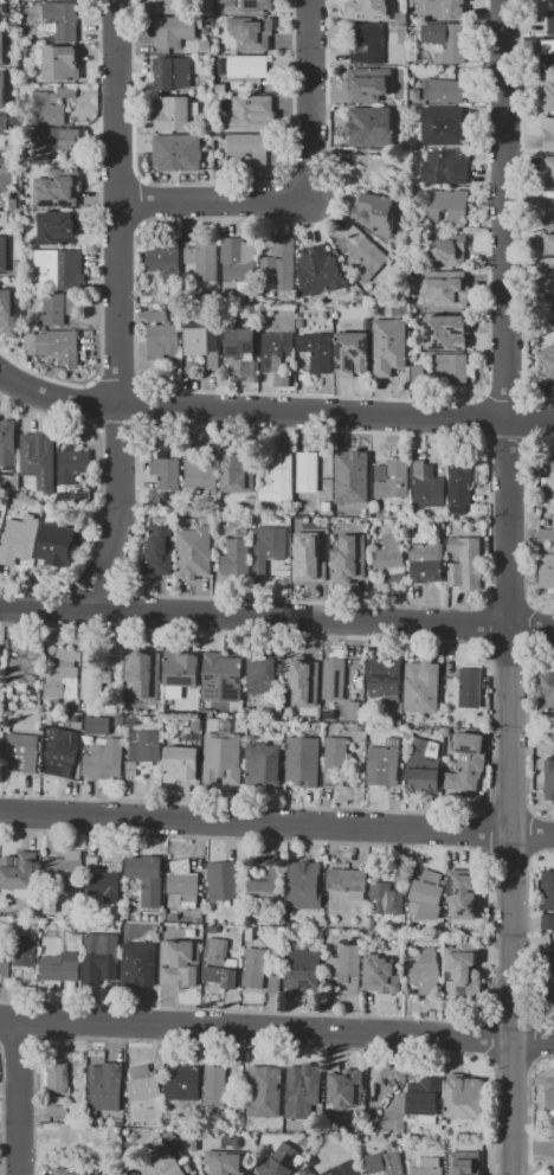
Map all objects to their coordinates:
building: (250, 5)
building: (166, 6)
building: (442, 8)
building: (368, 9)
building: (404, 15)
building: (66, 17)
building: (553, 23)
building: (476, 31)
building: (179, 32)
building: (255, 33)
building: (369, 45)
building: (453, 45)
building: (207, 47)
building: (2, 49)
building: (550, 49)
building: (62, 64)
building: (251, 68)
building: (174, 73)
building: (378, 84)
building: (2, 89)
building: (447, 91)
building: (549, 95)
building: (56, 101)
building: (247, 113)
building: (175, 114)
building: (346, 114)
building: (402, 118)
building: (17, 120)
building: (450, 126)
building: (368, 127)
building: (4, 130)
building: (549, 135)
building: (58, 140)
building: (180, 149)
building: (252, 149)
building: (211, 161)
building: (7, 162)
building: (449, 169)
building: (380, 171)
building: (549, 172)
building: (54, 184)
road: (314, 198)
building: (450, 207)
building: (381, 211)
building: (2, 218)
building: (552, 220)
building: (60, 227)
building: (549, 249)
building: (451, 251)
building: (4, 253)
building: (372, 255)
building: (169, 261)
building: (207, 261)
building: (241, 264)
building: (64, 267)
building: (282, 268)
building: (324, 274)
building: (550, 290)
building: (444, 291)
building: (161, 296)
building: (62, 309)
road: (120, 310)
building: (11, 313)
road: (503, 313)
building: (550, 319)
building: (450, 333)
building: (165, 338)
building: (206, 341)
building: (34, 346)
building: (65, 347)
building: (393, 348)
building: (278, 352)
building: (244, 353)
building: (321, 353)
building: (355, 355)
building: (546, 361)
building: (457, 370)
building: (423, 377)
building: (284, 381)
road: (273, 413)
building: (11, 445)
building: (45, 462)
building: (77, 465)
building: (240, 471)
building: (313, 473)
building: (202, 475)
building: (166, 477)
building: (354, 480)
building: (550, 480)
building: (397, 481)
building: (282, 482)
building: (430, 488)
building: (463, 490)
road: (101, 492)
building: (78, 497)
building: (329, 508)
building: (548, 534)
building: (21, 541)
building: (65, 544)
building: (273, 550)
building: (160, 552)
building: (193, 552)
building: (320, 552)
building: (240, 556)
building: (353, 557)
building: (308, 558)
building: (430, 561)
building: (394, 563)
building: (469, 565)
building: (547, 573)
road: (277, 617)
building: (26, 669)
building: (185, 669)
building: (268, 675)
building: (66, 676)
building: (386, 678)
building: (96, 679)
building: (224, 679)
building: (1, 680)
building: (147, 680)
building: (337, 680)
building: (307, 683)
building: (425, 687)
building: (471, 688)
building: (548, 693)
building: (357, 712)
building: (331, 715)
building: (123, 721)
building: (101, 726)
building: (1, 740)
building: (27, 751)
building: (66, 752)
building: (147, 752)
building: (340, 759)
building: (225, 760)
building: (108, 763)
building: (307, 763)
building: (387, 764)
building: (471, 764)
building: (185, 765)
building: (266, 766)
building: (426, 769)
building: (550, 781)
road: (277, 818)
building: (21, 872)
building: (70, 872)
building: (402, 877)
building: (150, 879)
building: (227, 881)
building: (107, 882)
building: (353, 884)
building: (187, 885)
building: (270, 887)
building: (309, 887)
building: (549, 892)
building: (469, 893)
building: (431, 898)
building: (388, 900)
road: (511, 900)
building: (53, 906)
building: (549, 923)
building: (78, 930)
building: (434, 940)
building: (28, 951)
building: (552, 957)
building: (103, 958)
building: (224, 964)
building: (142, 967)
building: (183, 967)
building: (64, 968)
building: (349, 968)
building: (307, 970)
building: (385, 970)
building: (466, 971)
building: (7, 972)
building: (429, 972)
building: (257, 974)
building: (277, 984)
building: (552, 991)
road: (277, 1029)
building: (143, 1071)
building: (187, 1083)
building: (352, 1086)
building: (218, 1087)
building: (60, 1089)
building: (149, 1089)
building: (107, 1090)
building: (268, 1092)
building: (305, 1092)
road: (17, 1097)
building: (466, 1098)
building: (427, 1099)
building: (389, 1100)
building: (550, 1103)
building: (116, 1134)
building: (240, 1143)
building: (197, 1145)
building: (474, 1150)
building: (163, 1161)
building: (283, 1161)
building: (228, 1163)
building: (552, 1163)
building: (394, 1164)
building: (432, 1167)
building: (352, 1168)
building: (78, 1171)
building: (478, 1174)

